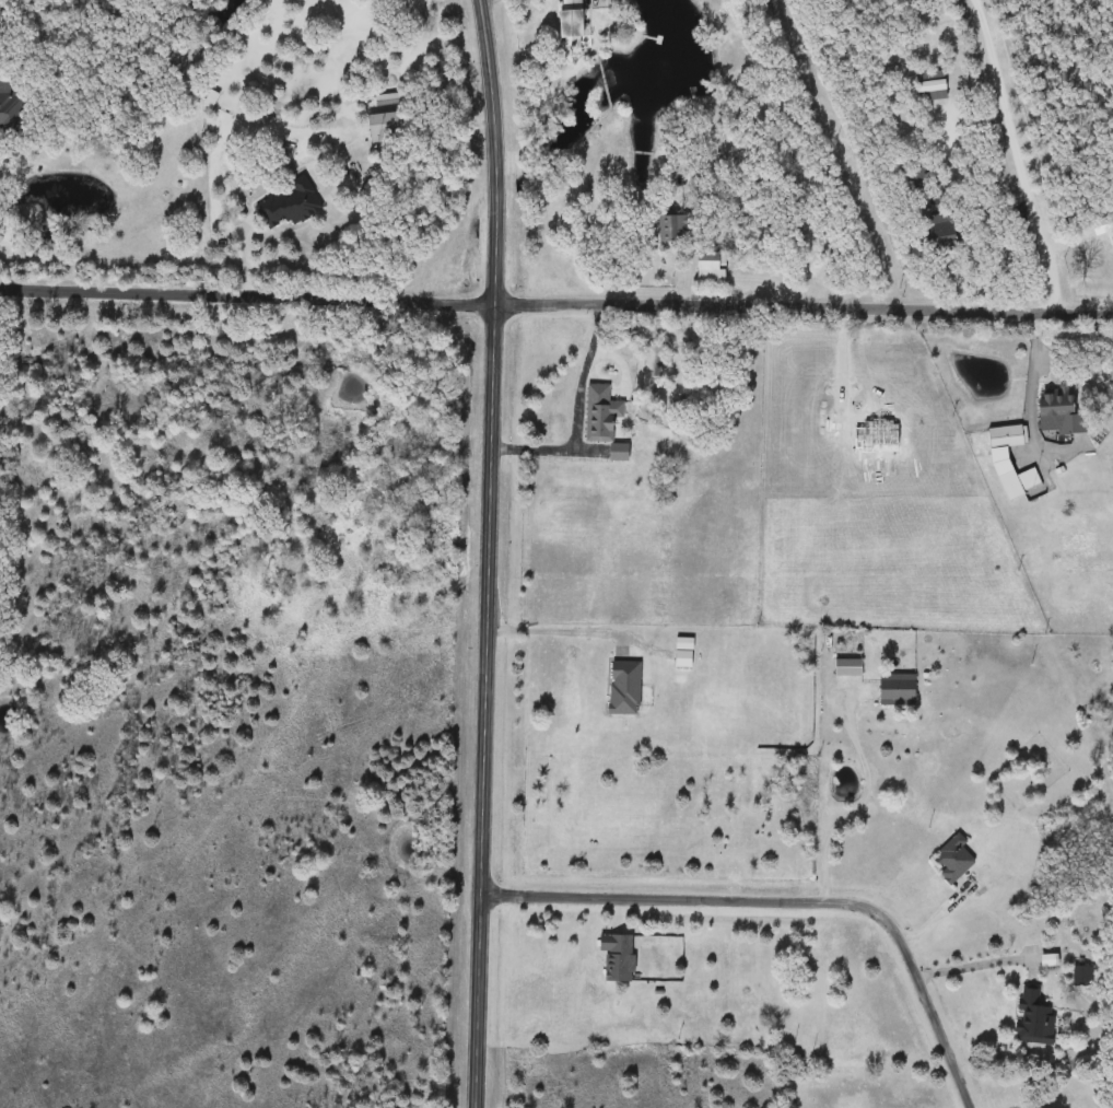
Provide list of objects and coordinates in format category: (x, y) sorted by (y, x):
building: (569, 22)
road: (977, 79)
building: (929, 86)
building: (11, 113)
building: (388, 127)
road: (1020, 154)
building: (289, 206)
road: (993, 206)
building: (677, 229)
building: (941, 234)
road: (247, 291)
road: (804, 305)
road: (1035, 385)
building: (1064, 409)
building: (601, 413)
road: (582, 417)
building: (1008, 436)
building: (629, 467)
building: (1020, 482)
road: (489, 553)
road: (558, 630)
building: (684, 653)
building: (626, 688)
building: (899, 691)
road: (866, 803)
building: (954, 859)
road: (789, 901)
building: (619, 957)
road: (984, 963)
building: (1081, 977)
building: (1034, 1018)

